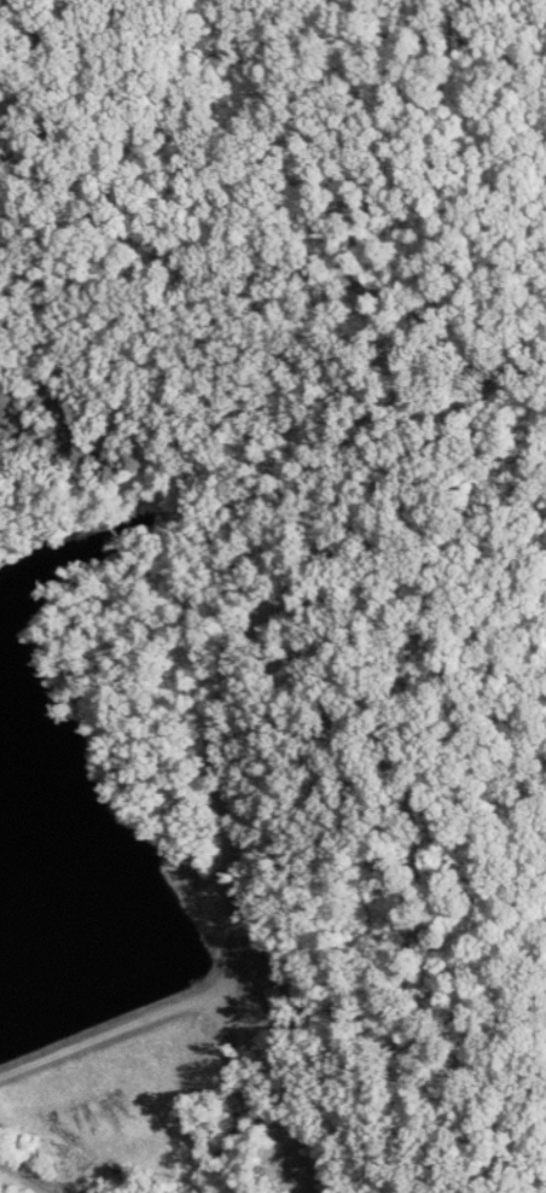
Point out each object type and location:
road: (97, 1035)

